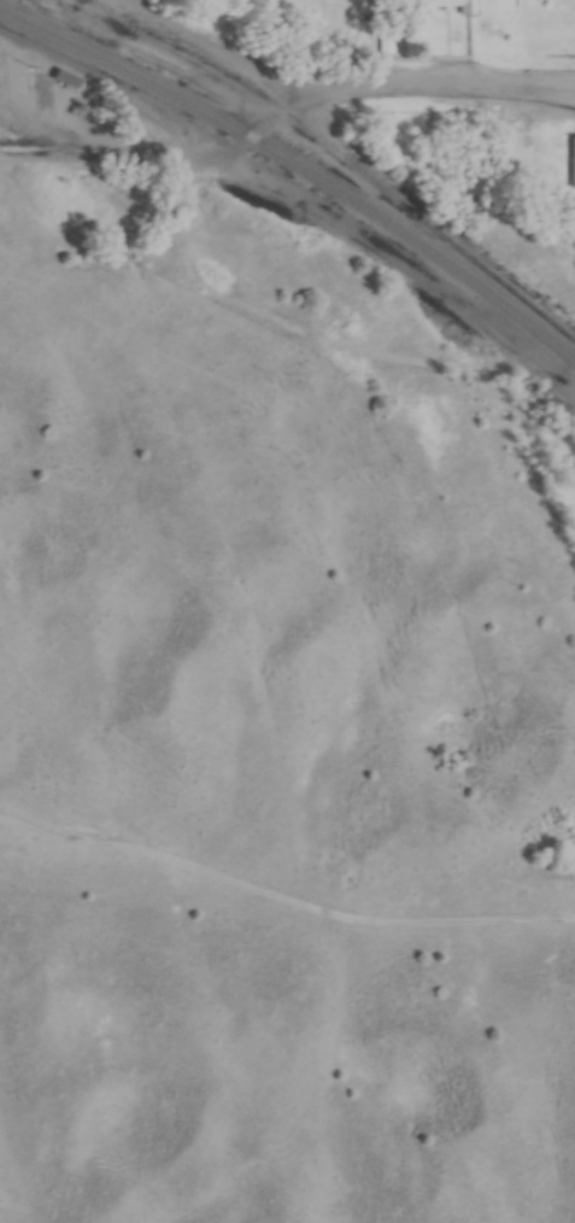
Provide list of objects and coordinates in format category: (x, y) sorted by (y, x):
building: (451, 6)
building: (71, 80)
road: (286, 112)
railway: (303, 163)
building: (573, 164)

